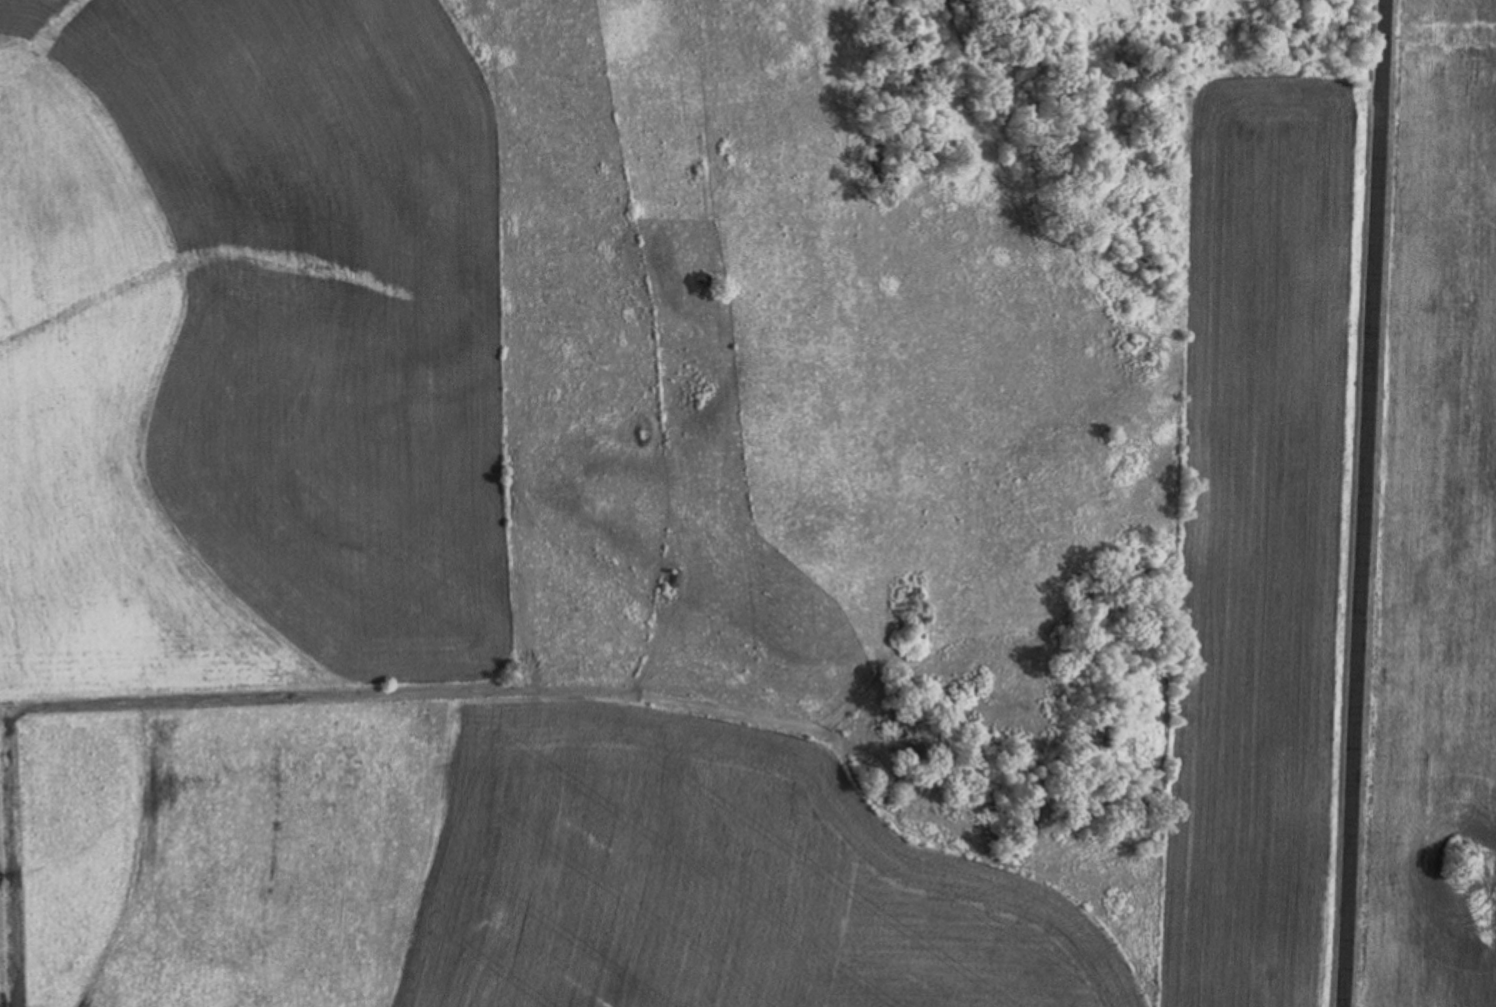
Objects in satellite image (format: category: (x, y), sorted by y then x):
road: (1359, 503)

